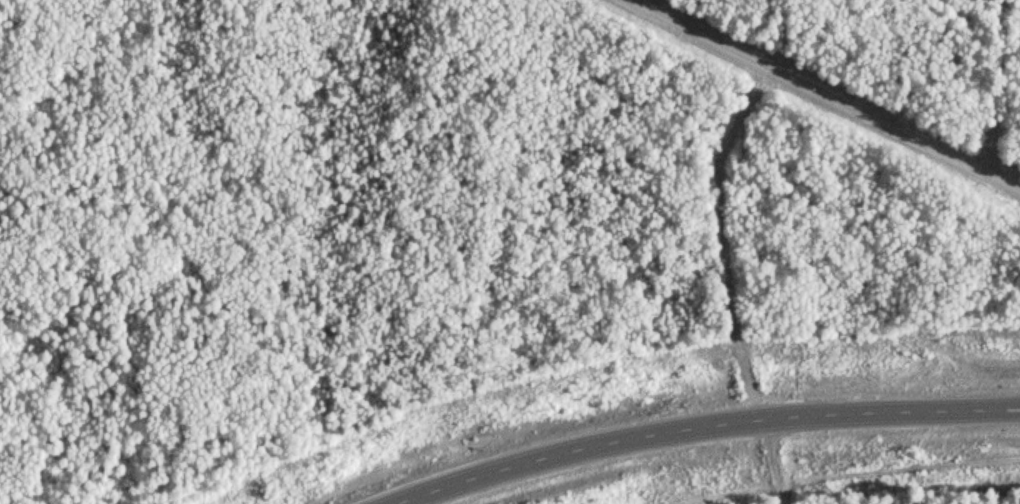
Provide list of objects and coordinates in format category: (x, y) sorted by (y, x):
road: (737, 27)
road: (818, 99)
road: (727, 285)
road: (701, 425)

